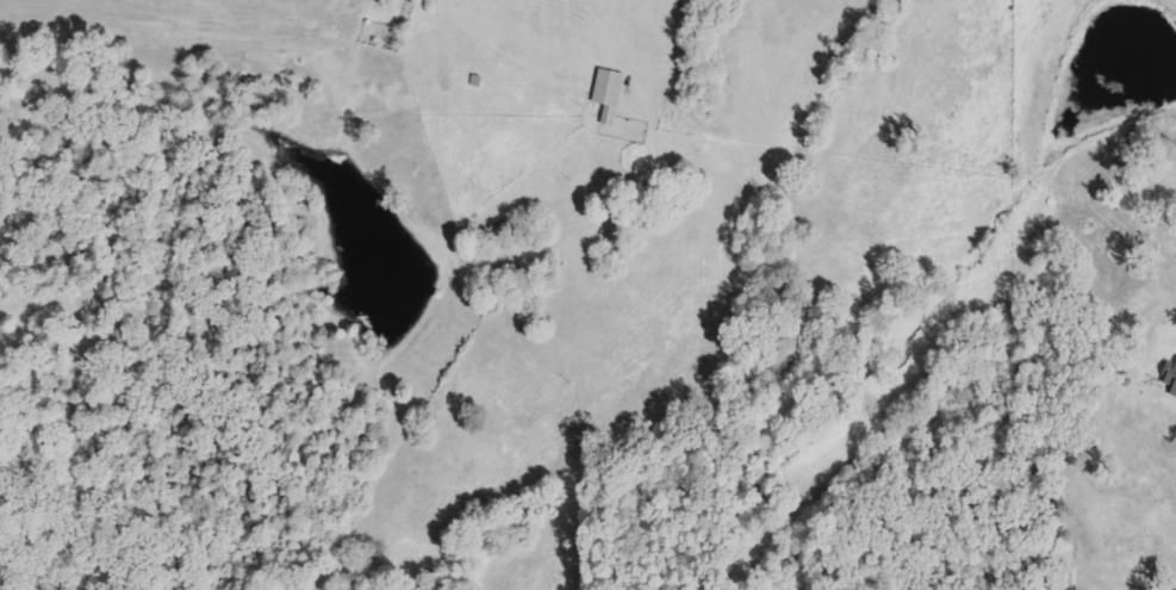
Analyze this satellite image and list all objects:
building: (606, 94)
building: (1171, 379)

